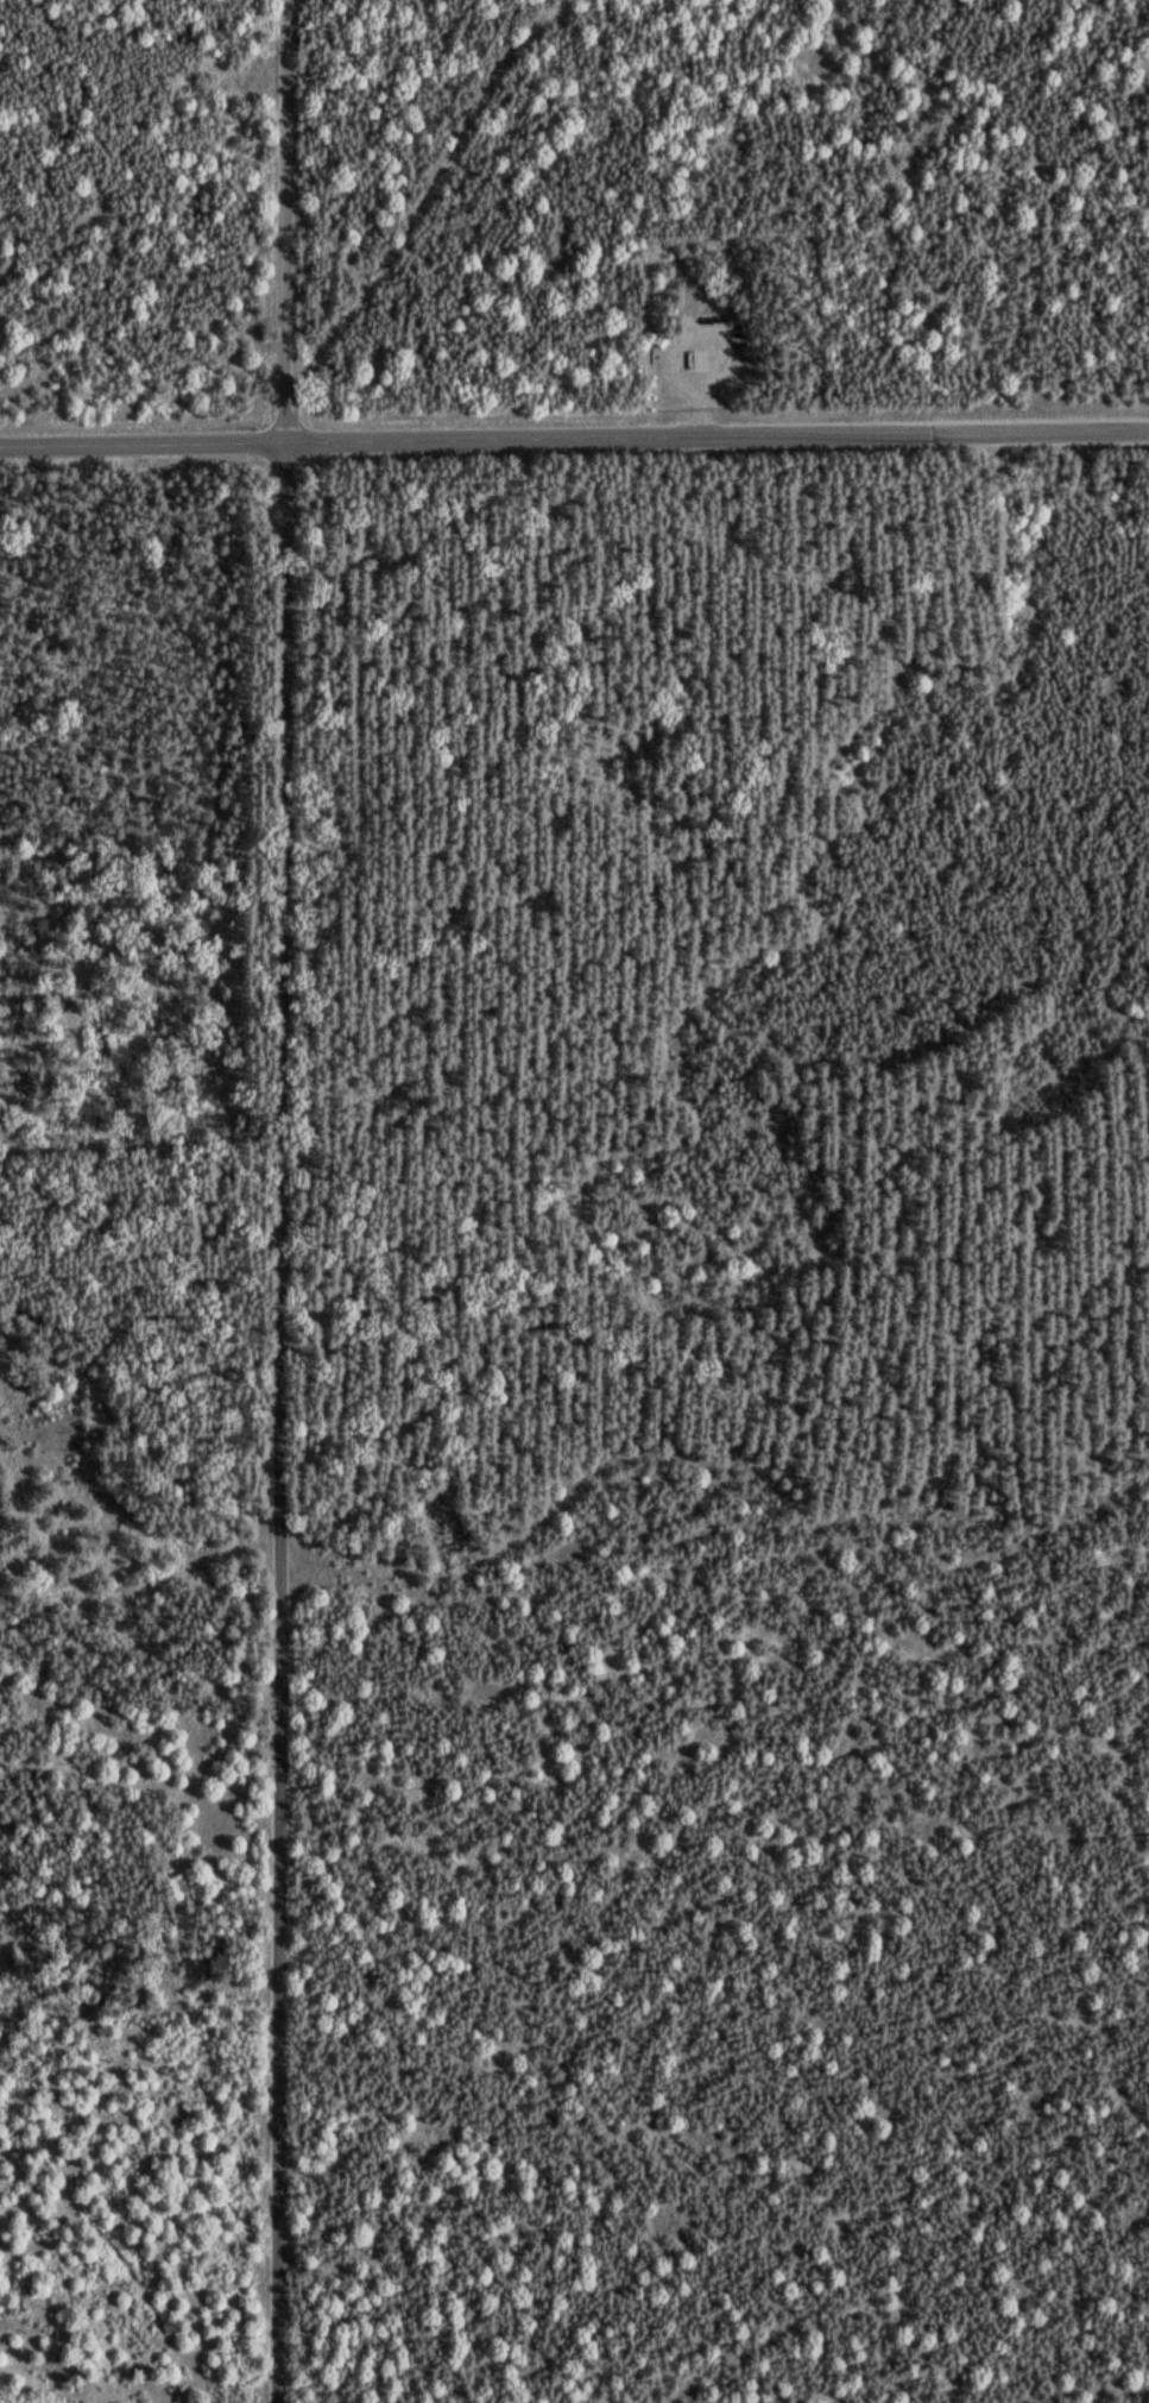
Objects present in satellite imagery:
road: (433, 196)
road: (574, 455)
road: (282, 1201)

